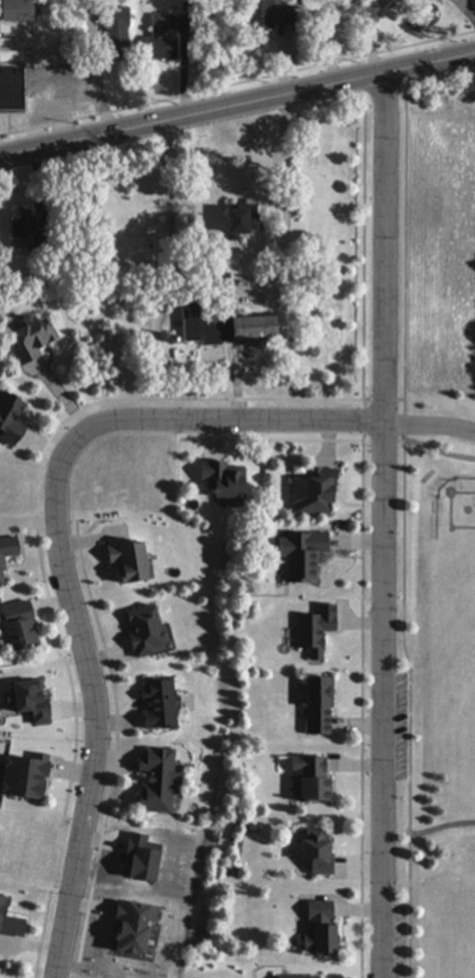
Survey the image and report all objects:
building: (14, 11)
road: (467, 12)
building: (264, 15)
building: (157, 40)
road: (373, 40)
building: (110, 43)
road: (330, 44)
building: (10, 79)
road: (76, 90)
road: (237, 107)
road: (284, 175)
building: (236, 218)
building: (20, 223)
building: (248, 327)
building: (29, 338)
building: (8, 419)
road: (430, 425)
building: (219, 480)
building: (311, 492)
road: (382, 527)
road: (57, 552)
building: (299, 554)
building: (123, 561)
building: (15, 626)
building: (313, 630)
building: (140, 631)
park: (438, 685)
building: (154, 703)
building: (315, 705)
building: (22, 777)
building: (307, 778)
building: (152, 780)
building: (313, 851)
building: (9, 922)
building: (315, 927)
building: (294, 976)

